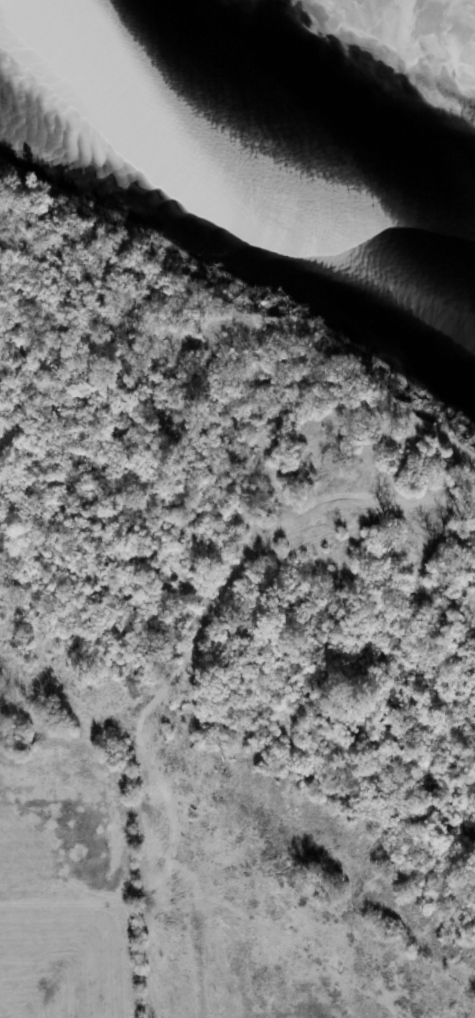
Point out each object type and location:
river: (227, 154)

